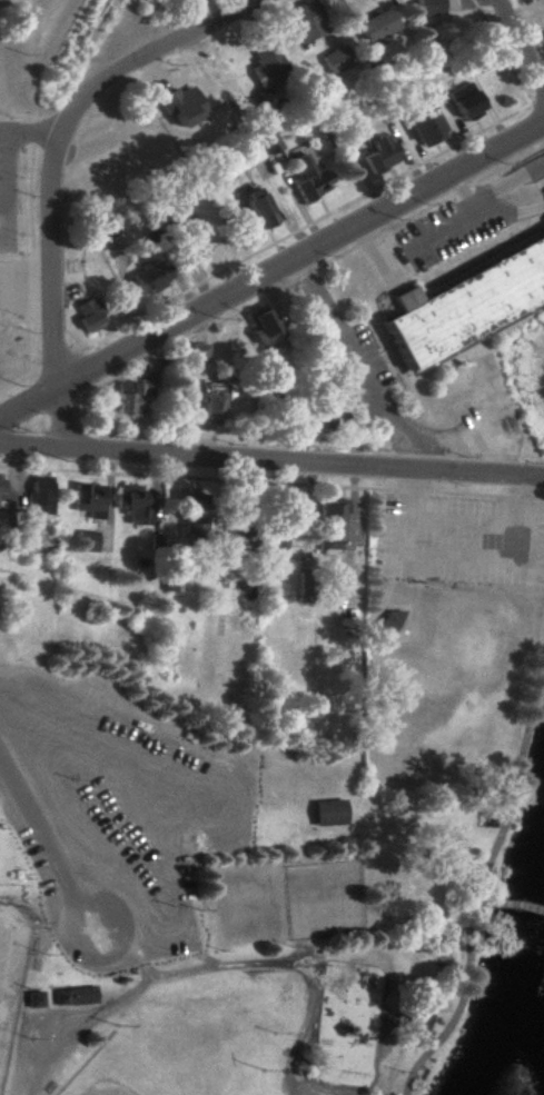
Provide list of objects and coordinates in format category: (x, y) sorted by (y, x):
building: (423, 7)
building: (303, 21)
building: (374, 26)
building: (543, 32)
road: (521, 44)
road: (498, 52)
building: (334, 59)
building: (264, 63)
road: (537, 98)
building: (461, 101)
building: (179, 106)
building: (421, 125)
road: (58, 133)
road: (28, 136)
road: (33, 140)
building: (265, 141)
building: (377, 153)
building: (246, 155)
building: (305, 176)
road: (517, 178)
parking lot: (540, 186)
road: (453, 187)
road: (2, 190)
road: (474, 201)
building: (256, 207)
road: (429, 208)
road: (530, 210)
road: (465, 219)
road: (301, 227)
parking lot: (453, 228)
building: (190, 233)
road: (32, 259)
road: (271, 269)
road: (305, 273)
building: (147, 276)
road: (26, 286)
building: (471, 306)
road: (0, 308)
building: (87, 315)
road: (1, 318)
building: (260, 325)
road: (169, 348)
building: (197, 351)
road: (56, 362)
road: (365, 362)
road: (400, 371)
road: (19, 381)
building: (138, 395)
building: (210, 400)
road: (61, 416)
building: (315, 417)
building: (326, 425)
road: (95, 440)
road: (271, 458)
road: (196, 478)
road: (411, 480)
building: (2, 487)
road: (517, 487)
road: (408, 490)
building: (41, 494)
road: (465, 495)
road: (515, 497)
road: (535, 498)
building: (90, 499)
building: (137, 502)
building: (191, 512)
building: (245, 515)
building: (207, 520)
road: (463, 520)
building: (336, 526)
building: (281, 528)
parking lot: (463, 538)
building: (85, 540)
road: (459, 559)
building: (441, 574)
building: (396, 626)
building: (332, 813)
parking lot: (112, 819)
road: (48, 839)
park: (274, 842)
road: (481, 873)
road: (506, 904)
road: (125, 949)
park: (10, 976)
road: (142, 982)
building: (76, 995)
building: (37, 998)
road: (392, 998)
building: (421, 1021)
road: (303, 1026)
park: (175, 1054)
river: (508, 1057)

